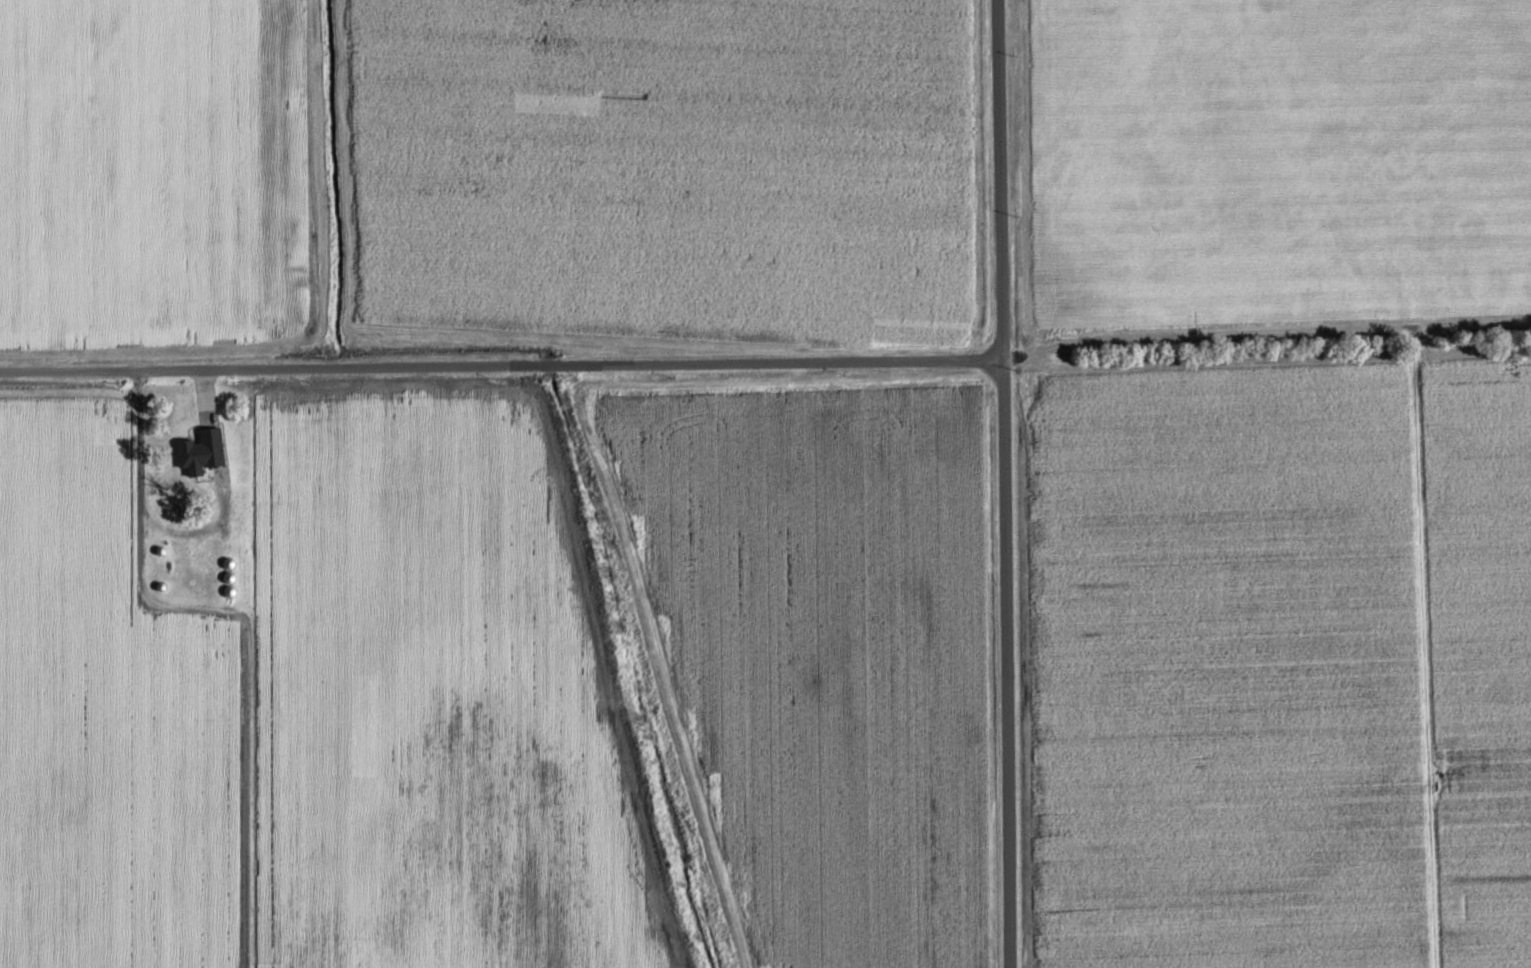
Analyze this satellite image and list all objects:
road: (498, 364)
road: (221, 429)
building: (205, 452)
road: (998, 484)

